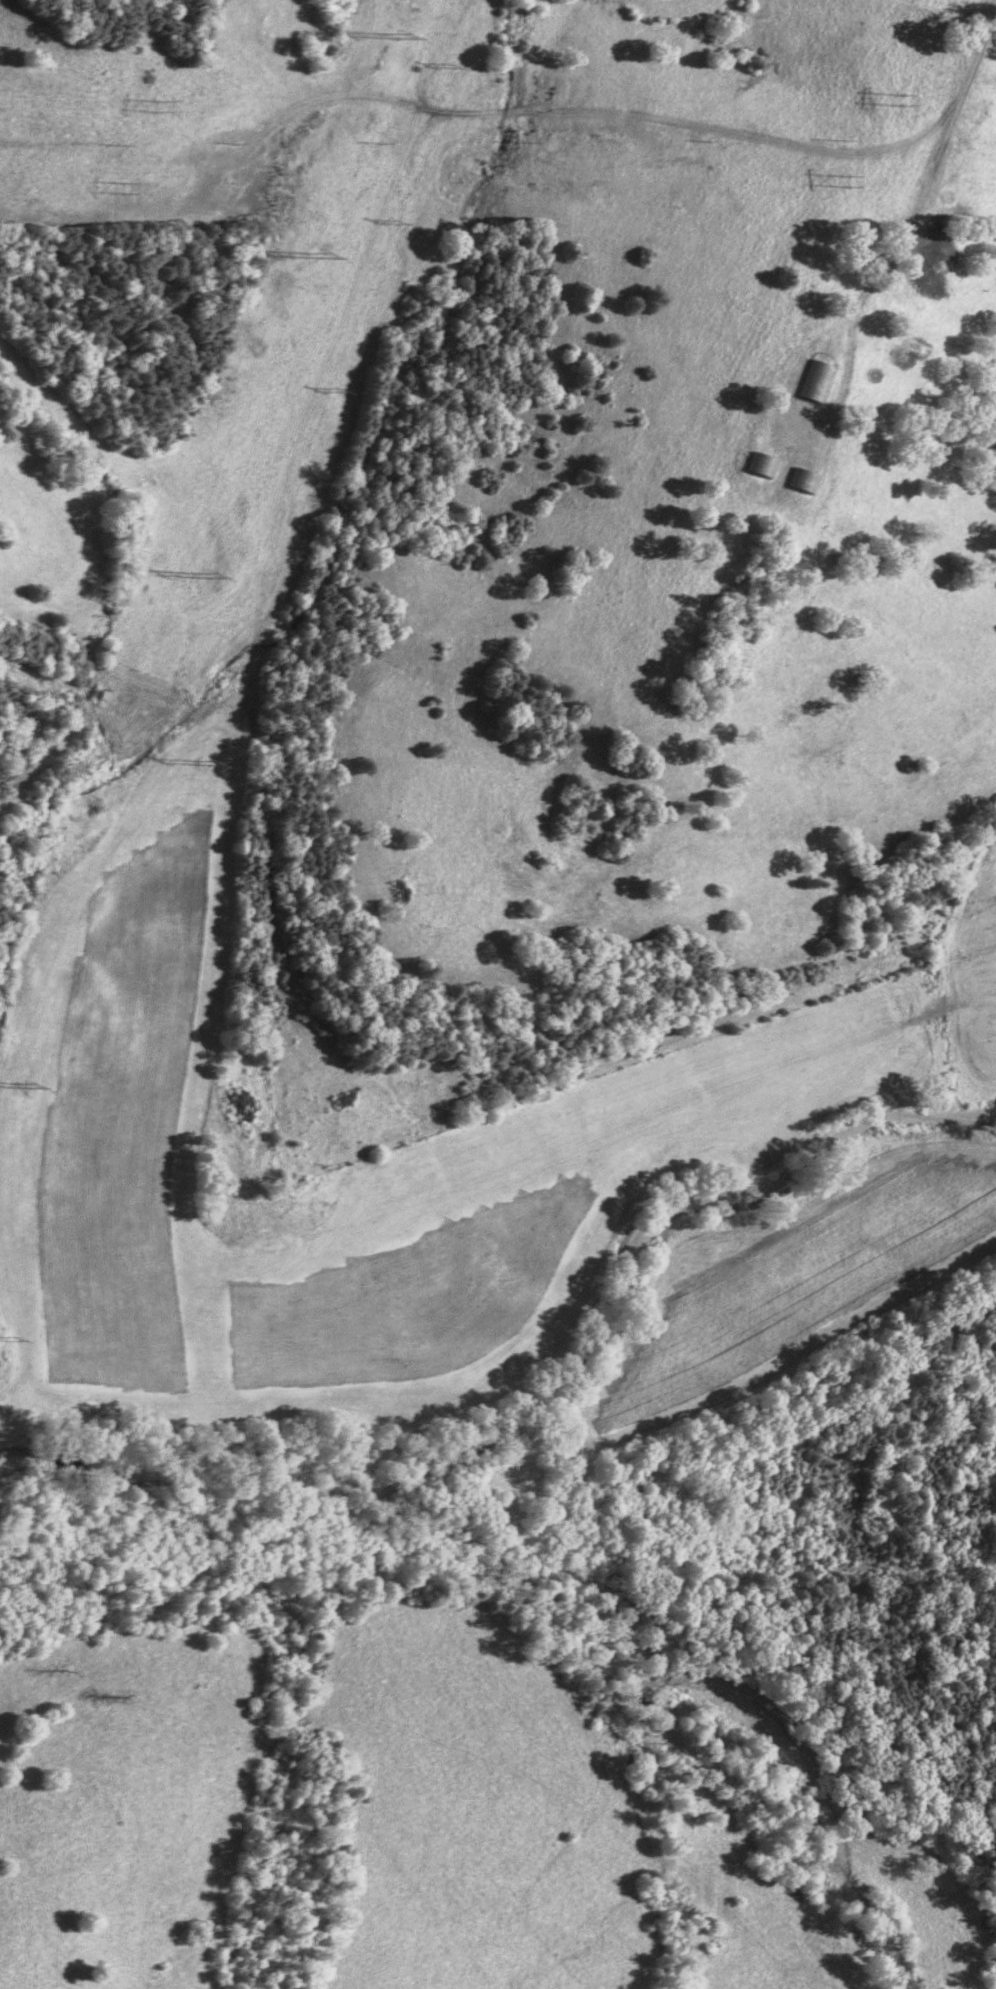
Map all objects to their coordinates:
power tower: (389, 36)
power tower: (311, 256)
power tower: (198, 572)
power tower: (19, 1085)

